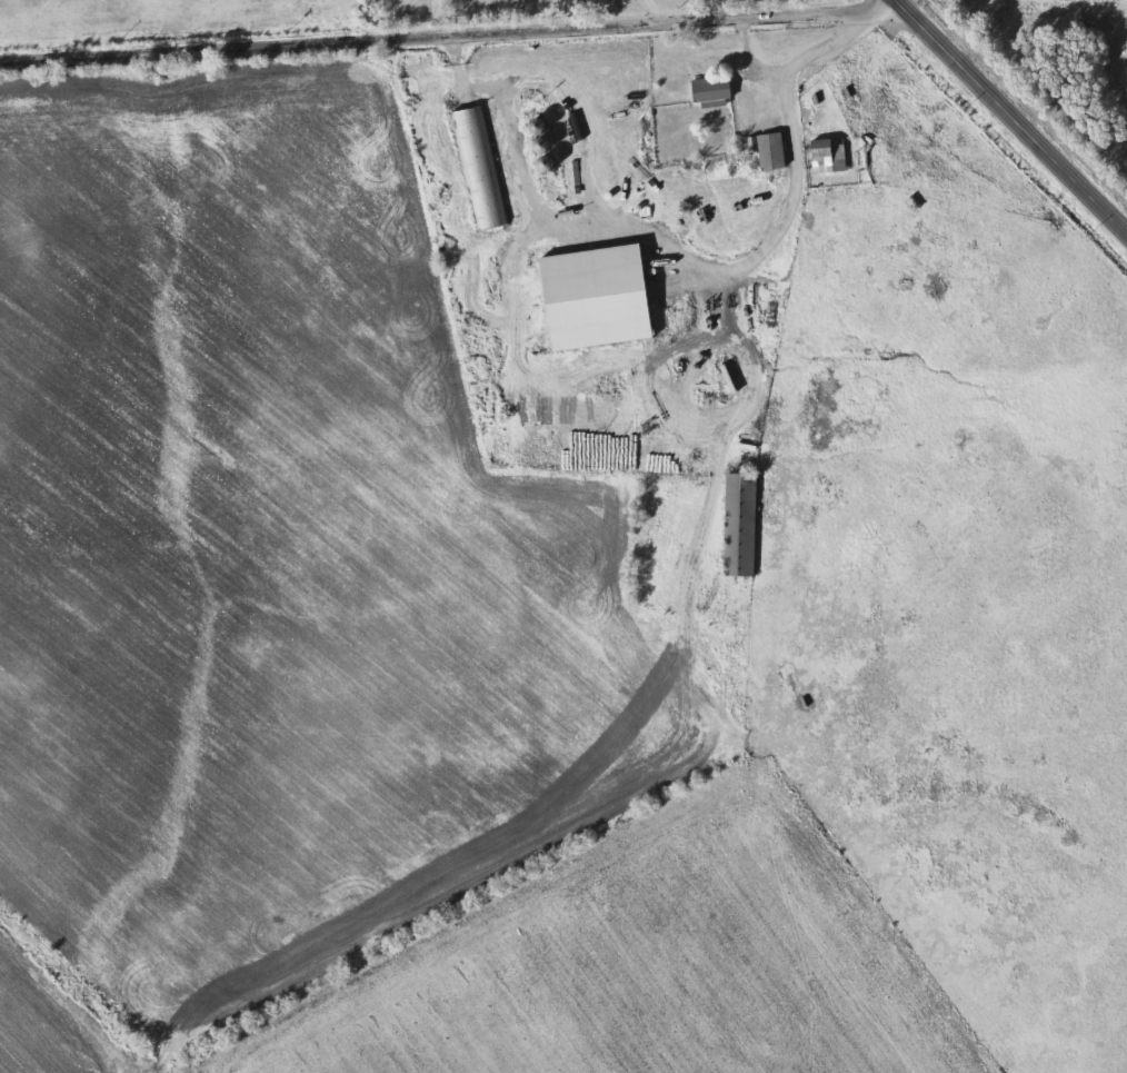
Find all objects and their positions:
road: (657, 12)
road: (450, 38)
road: (792, 67)
building: (708, 89)
road: (1009, 117)
building: (768, 151)
building: (825, 156)
building: (477, 168)
road: (645, 237)
building: (822, 497)
building: (737, 524)
building: (820, 569)

